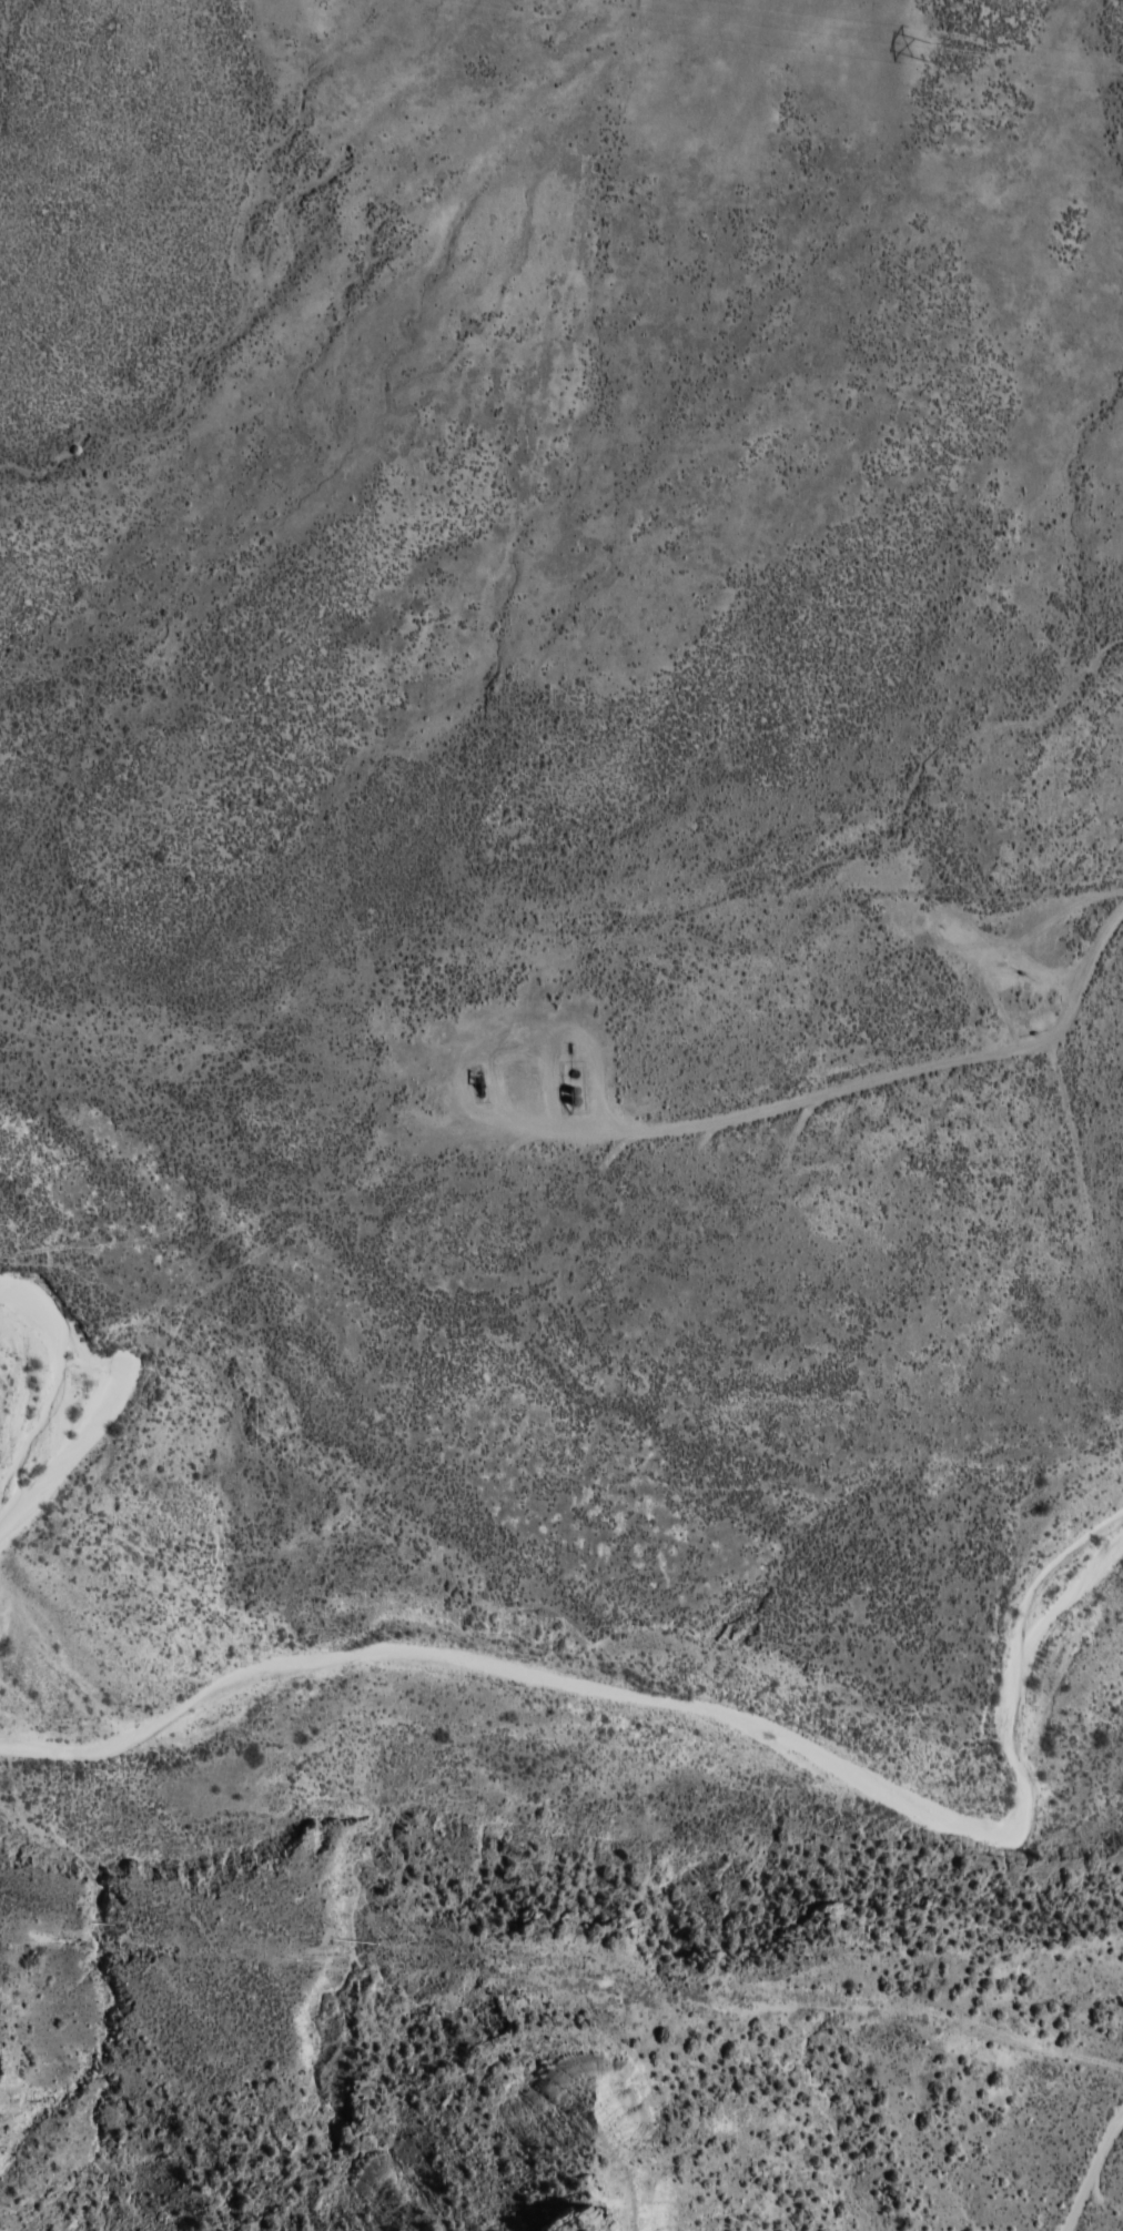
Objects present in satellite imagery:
power tower: (928, 51)
road: (1083, 890)
river: (569, 1687)
road: (1068, 2077)

